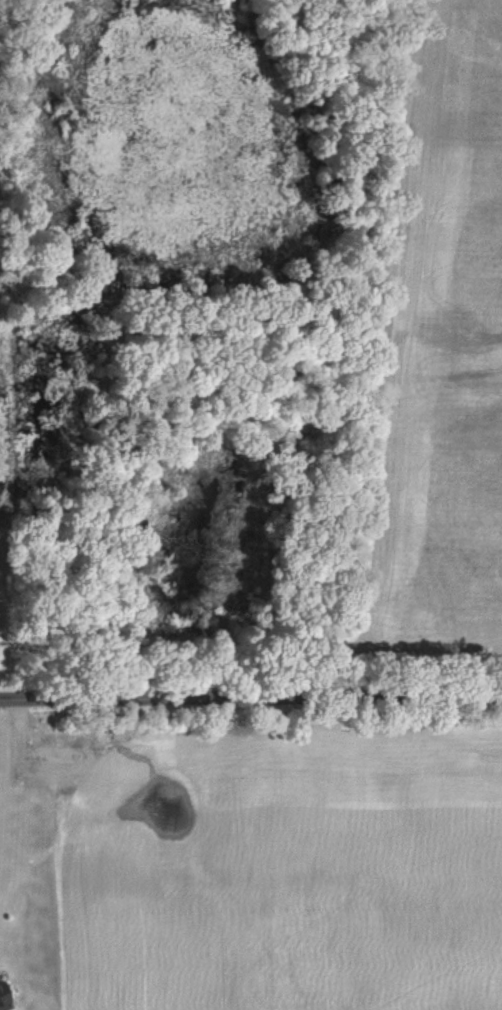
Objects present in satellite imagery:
road: (251, 695)
crop: (277, 860)

